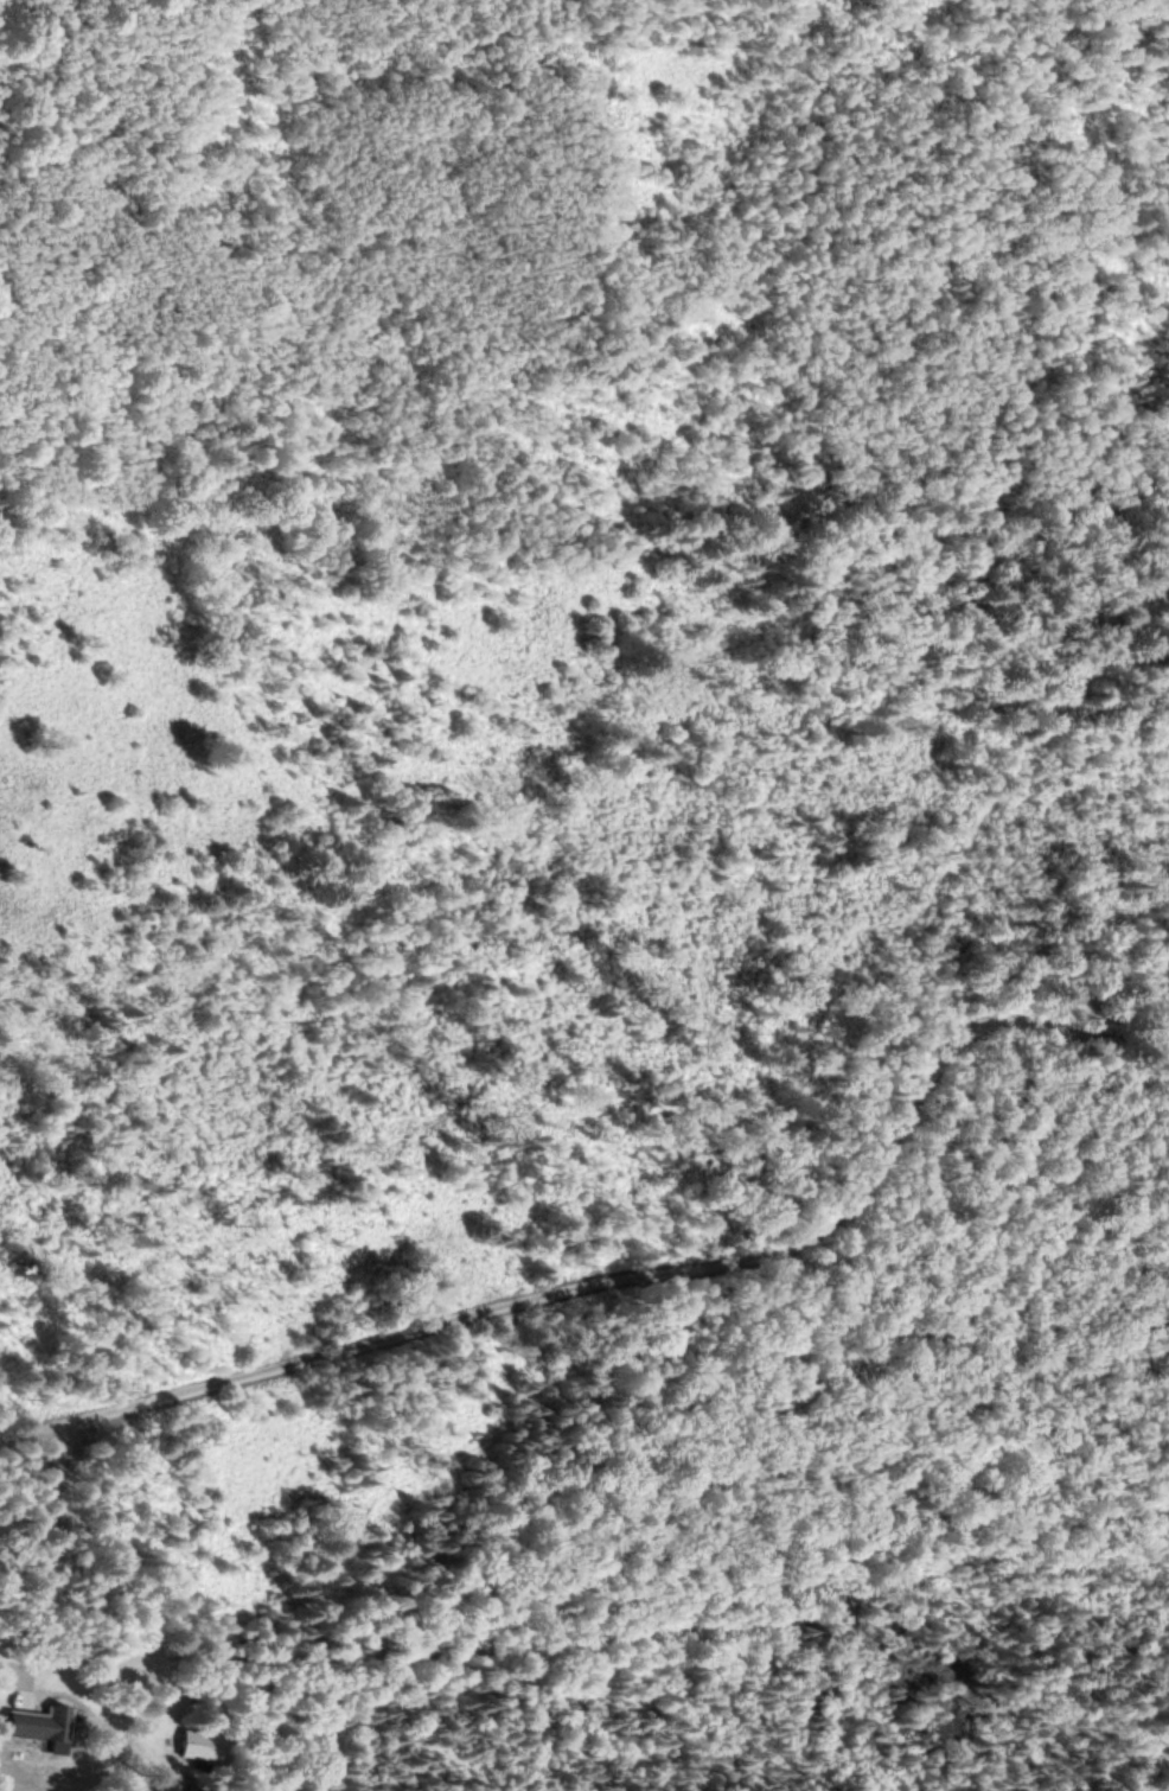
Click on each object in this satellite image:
road: (633, 1317)
building: (39, 1728)
building: (202, 1747)

